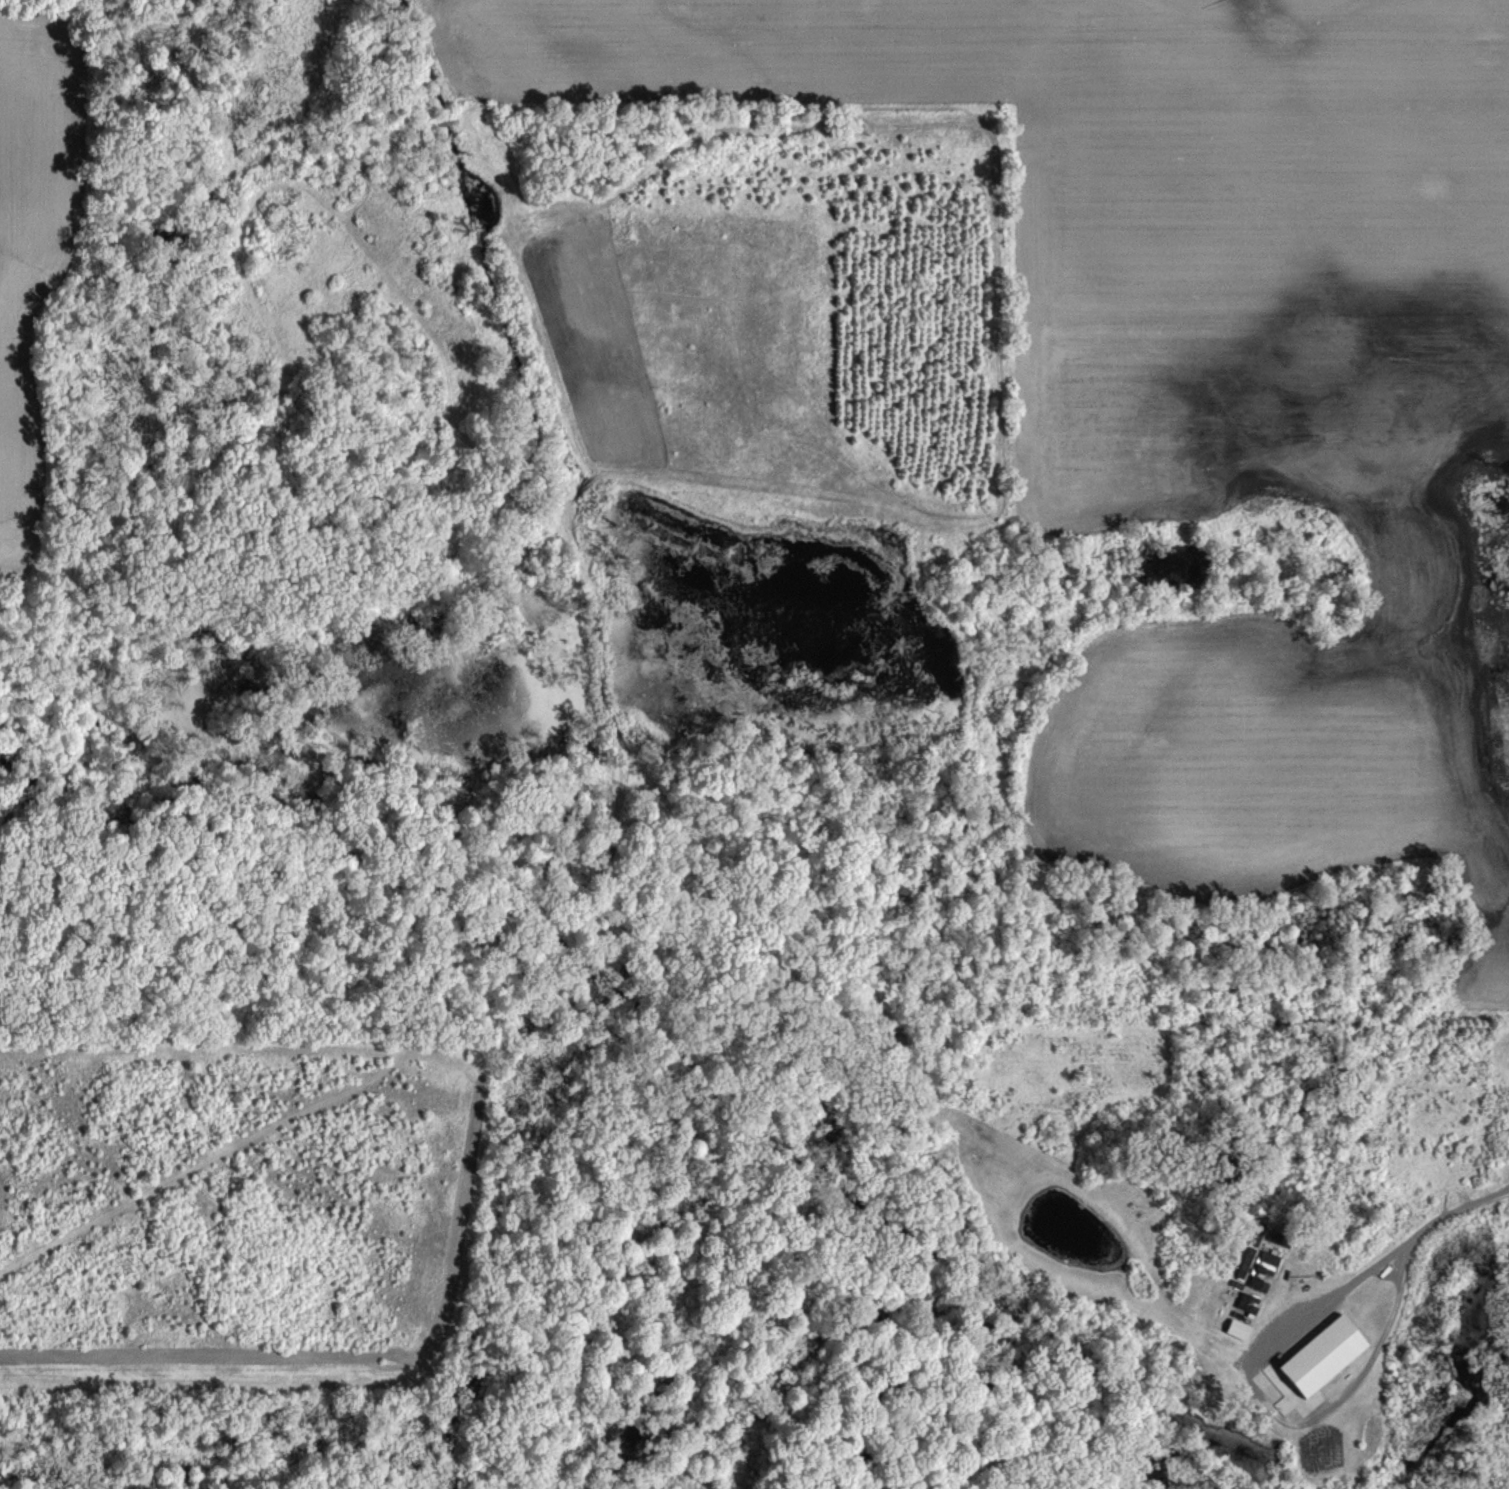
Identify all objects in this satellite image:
road: (1385, 1259)
building: (1258, 1265)
building: (1238, 1328)
building: (1325, 1354)

